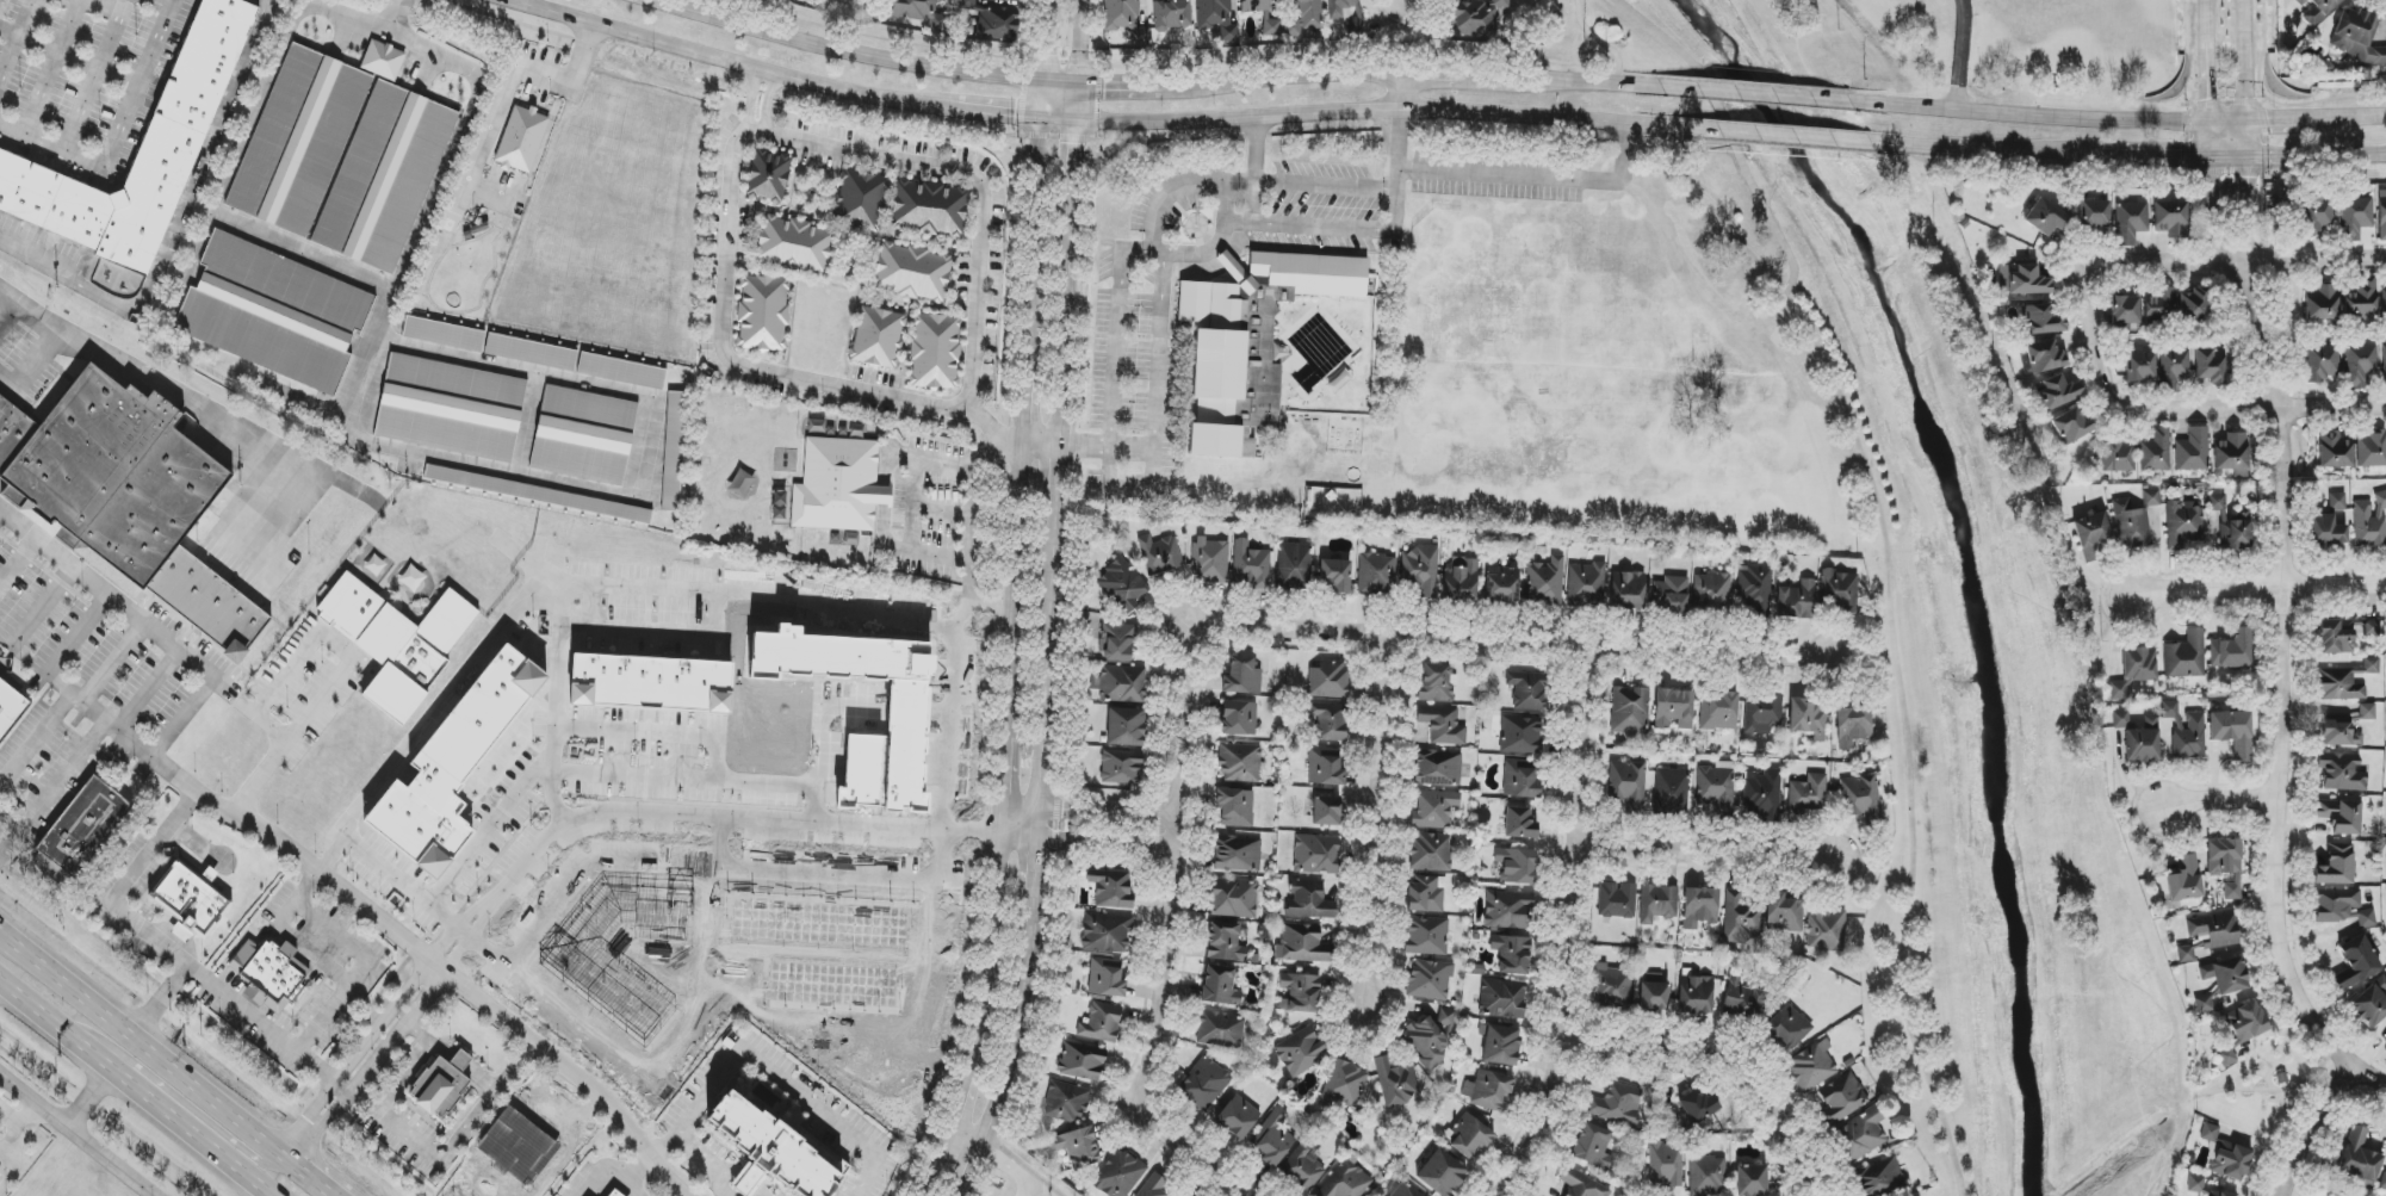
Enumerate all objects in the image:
road: (271, 2)
road: (1405, 4)
building: (1253, 5)
building: (2318, 10)
building: (919, 13)
building: (1346, 13)
building: (1171, 14)
road: (357, 18)
building: (1216, 18)
building: (1306, 18)
building: (1475, 18)
building: (1126, 19)
building: (991, 21)
building: (1272, 27)
road: (409, 37)
building: (2360, 37)
road: (1047, 42)
road: (1601, 42)
road: (830, 50)
road: (1958, 54)
road: (70, 57)
building: (383, 60)
road: (731, 63)
road: (2211, 63)
road: (2248, 63)
building: (198, 78)
road: (1437, 78)
traffic signals: (1041, 83)
road: (1059, 83)
road: (1283, 83)
road: (1567, 83)
traffic signals: (1078, 85)
road: (1123, 85)
road: (506, 92)
road: (1754, 94)
road: (751, 99)
road: (768, 101)
road: (1359, 112)
road: (2032, 113)
road: (996, 114)
traffic signals: (1037, 118)
traffic signals: (1076, 120)
road: (2350, 123)
road: (2301, 124)
road: (2270, 125)
traffic signals: (2214, 126)
road: (2233, 126)
traffic signals: (2252, 126)
road: (1397, 132)
road: (122, 135)
road: (1729, 135)
road: (1775, 136)
building: (521, 140)
building: (298, 141)
road: (2254, 141)
road: (1093, 144)
road: (1256, 150)
road: (1982, 150)
road: (2300, 155)
road: (2155, 156)
traffic signals: (2214, 156)
traffic signals: (2255, 156)
building: (768, 176)
road: (1537, 176)
building: (384, 178)
road: (977, 182)
road: (1324, 185)
road: (1166, 193)
road: (2212, 198)
building: (861, 200)
road: (1253, 203)
building: (929, 209)
road: (2249, 209)
building: (2094, 215)
building: (2381, 215)
building: (2317, 216)
building: (2046, 218)
building: (2170, 218)
building: (2355, 218)
building: (2130, 222)
road: (1238, 223)
road: (173, 225)
road: (1223, 227)
road: (1343, 229)
building: (793, 246)
road: (2235, 261)
building: (912, 272)
building: (2022, 279)
road: (2059, 281)
building: (2362, 299)
building: (2322, 303)
building: (2384, 303)
building: (2159, 304)
building: (2192, 304)
building: (2124, 310)
road: (10, 311)
building: (273, 312)
building: (763, 314)
building: (2041, 320)
road: (1116, 327)
building: (444, 334)
building: (878, 337)
building: (1250, 341)
building: (531, 352)
building: (935, 352)
road: (1159, 353)
building: (2044, 357)
building: (2323, 362)
building: (2385, 364)
road: (33, 365)
building: (2210, 366)
building: (2360, 366)
building: (2139, 367)
road: (2252, 367)
building: (2173, 368)
road: (755, 370)
building: (621, 371)
road: (2086, 390)
building: (2057, 392)
road: (188, 398)
road: (2261, 403)
building: (451, 408)
building: (2071, 426)
building: (583, 435)
road: (1086, 446)
building: (2370, 450)
building: (674, 451)
building: (2156, 451)
building: (2193, 451)
building: (2335, 451)
building: (2231, 452)
building: (2119, 456)
building: (838, 487)
building: (538, 494)
building: (122, 497)
building: (2151, 497)
road: (259, 500)
building: (2217, 502)
road: (973, 509)
road: (905, 520)
building: (2370, 521)
building: (2183, 523)
building: (2330, 523)
building: (2130, 525)
building: (2233, 531)
building: (2090, 534)
building: (1160, 554)
road: (18, 560)
building: (1209, 562)
building: (1251, 565)
building: (1293, 566)
building: (1421, 570)
building: (1376, 574)
building: (1335, 576)
building: (1461, 580)
building: (1545, 582)
building: (1502, 584)
building: (1586, 584)
building: (1122, 585)
road: (2258, 587)
building: (1628, 590)
building: (1839, 590)
building: (1712, 591)
building: (1755, 591)
road: (771, 594)
building: (1671, 595)
building: (1797, 600)
road: (1051, 602)
road: (42, 607)
road: (1889, 625)
road: (148, 627)
building: (2366, 627)
building: (2336, 637)
road: (321, 638)
building: (397, 642)
road: (1511, 642)
building: (1117, 643)
road: (1011, 645)
building: (2231, 650)
building: (2184, 656)
road: (112, 663)
road: (52, 664)
building: (2138, 664)
building: (2370, 665)
road: (465, 671)
building: (1241, 676)
building: (1328, 680)
building: (651, 683)
building: (1436, 683)
building: (1121, 684)
building: (2339, 684)
road: (147, 690)
building: (1527, 690)
building: (2115, 690)
building: (7, 706)
building: (1674, 708)
building: (2169, 709)
building: (1630, 711)
building: (1719, 712)
building: (2367, 712)
building: (1762, 713)
building: (1239, 718)
building: (1808, 718)
building: (2119, 719)
building: (1330, 723)
building: (1442, 725)
building: (1853, 726)
building: (1126, 727)
road: (947, 731)
building: (2339, 731)
building: (2232, 732)
building: (1520, 735)
road: (669, 737)
road: (35, 738)
building: (2189, 738)
building: (2140, 745)
building: (1240, 763)
building: (453, 767)
building: (1325, 767)
building: (1121, 768)
building: (1437, 768)
building: (2341, 771)
road: (634, 777)
building: (1520, 779)
road: (258, 780)
building: (1628, 786)
building: (1717, 788)
building: (1672, 792)
building: (1762, 795)
building: (1806, 795)
road: (2214, 797)
road: (2273, 797)
building: (1863, 798)
building: (1235, 807)
building: (1433, 810)
building: (1326, 811)
road: (1087, 813)
building: (2339, 816)
road: (1377, 818)
road: (687, 822)
building: (1519, 823)
road: (7, 824)
road: (494, 826)
building: (76, 828)
road: (197, 842)
road: (1086, 847)
building: (1430, 851)
building: (1238, 853)
road: (1704, 853)
building: (1316, 855)
building: (2225, 865)
building: (1516, 866)
building: (2336, 866)
road: (826, 873)
building: (2184, 880)
road: (408, 887)
building: (1111, 888)
building: (1425, 894)
road: (341, 896)
building: (1235, 898)
building: (188, 900)
building: (1309, 900)
building: (1617, 901)
building: (1657, 903)
building: (1699, 907)
building: (2342, 907)
building: (1508, 910)
building: (1781, 913)
building: (1739, 919)
road: (1566, 928)
building: (1826, 931)
building: (1107, 932)
building: (1426, 936)
building: (2207, 936)
road: (157, 938)
road: (1169, 938)
building: (1227, 942)
building: (1302, 943)
building: (1512, 954)
building: (2355, 963)
building: (2226, 975)
building: (267, 977)
road: (357, 977)
building: (1105, 978)
building: (1430, 980)
building: (1221, 985)
building: (1612, 986)
building: (1300, 993)
building: (1654, 993)
building: (1696, 996)
road: (160, 999)
building: (1502, 999)
building: (2370, 1003)
building: (2204, 1004)
road: (47, 1017)
building: (2246, 1022)
building: (1101, 1023)
building: (1789, 1028)
building: (1220, 1030)
building: (1428, 1039)
building: (1500, 1045)
road: (143, 1046)
road: (426, 1052)
building: (1300, 1052)
road: (353, 1058)
road: (1727, 1059)
building: (1082, 1061)
road: (774, 1065)
building: (1811, 1066)
road: (367, 1070)
building: (1395, 1082)
building: (445, 1083)
building: (1204, 1084)
building: (1344, 1085)
building: (1488, 1090)
road: (142, 1093)
building: (1842, 1097)
road: (88, 1099)
building: (1065, 1103)
building: (1617, 1104)
building: (1698, 1105)
building: (1237, 1117)
road: (11, 1120)
road: (2304, 1121)
building: (1861, 1135)
road: (74, 1136)
building: (1470, 1136)
building: (1272, 1139)
road: (967, 1140)
road: (13, 1146)
building: (1593, 1146)
building: (1078, 1147)
road: (241, 1148)
building: (770, 1151)
road: (440, 1154)
building: (2226, 1155)
building: (2359, 1158)
road: (230, 1164)
road: (708, 1164)
road: (637, 1166)
building: (1665, 1166)
building: (1304, 1167)
road: (1008, 1169)
building: (1442, 1172)
road: (596, 1173)
building: (1, 1175)
building: (1118, 1175)
building: (1706, 1176)
road: (310, 1177)
building: (1880, 1179)
building: (1346, 1180)
building: (1752, 1180)
building: (2384, 1182)
building: (1581, 1184)
building: (2195, 1184)
road: (631, 1185)
building: (1153, 1186)
building: (1406, 1190)
road: (261, 1192)
building: (614, 1194)
building: (2217, 1194)

